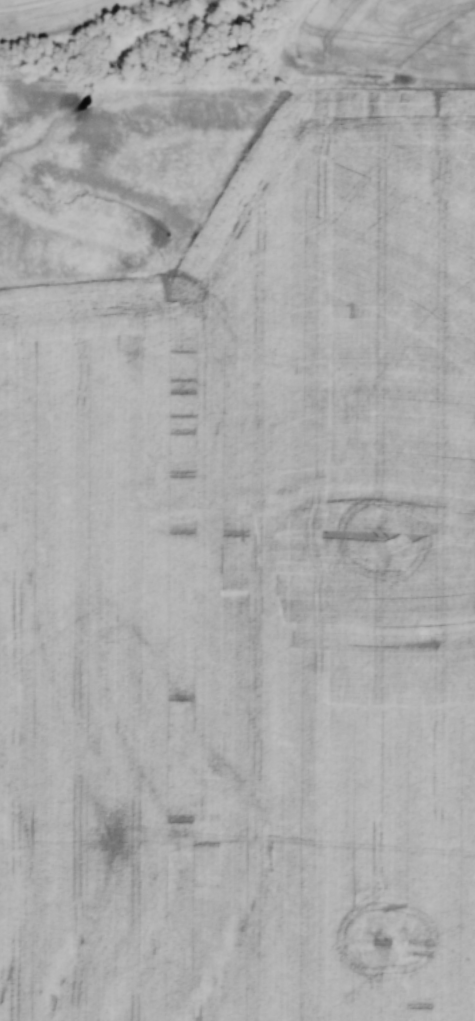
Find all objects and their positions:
power tower: (382, 83)
power tower: (384, 536)
power tower: (383, 938)

